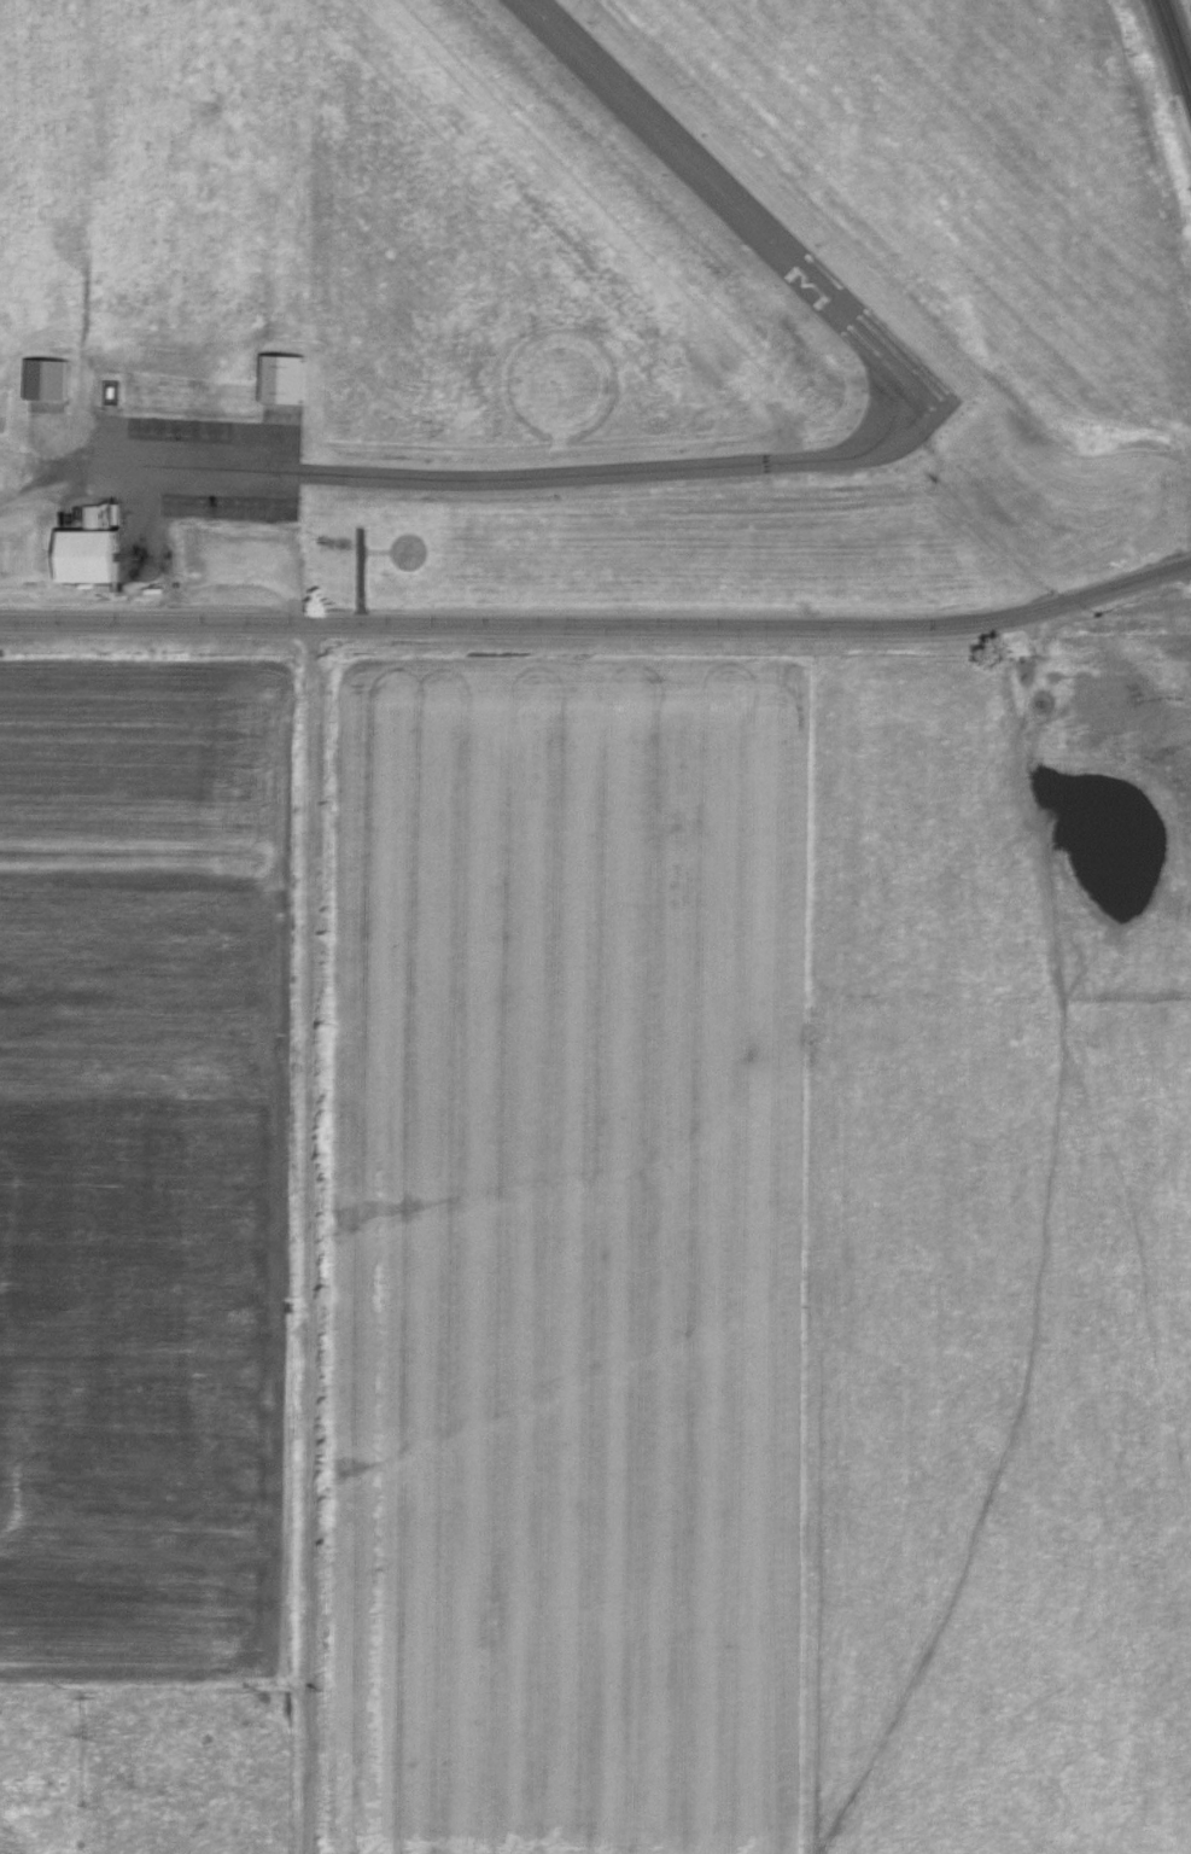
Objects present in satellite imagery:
road: (1174, 46)
airport runway: (737, 206)
airport: (525, 323)
building: (291, 378)
building: (52, 379)
airport taxiway: (627, 470)
building: (2, 479)
road: (41, 492)
building: (104, 515)
road: (136, 530)
building: (98, 555)
road: (599, 624)
road: (314, 1237)

